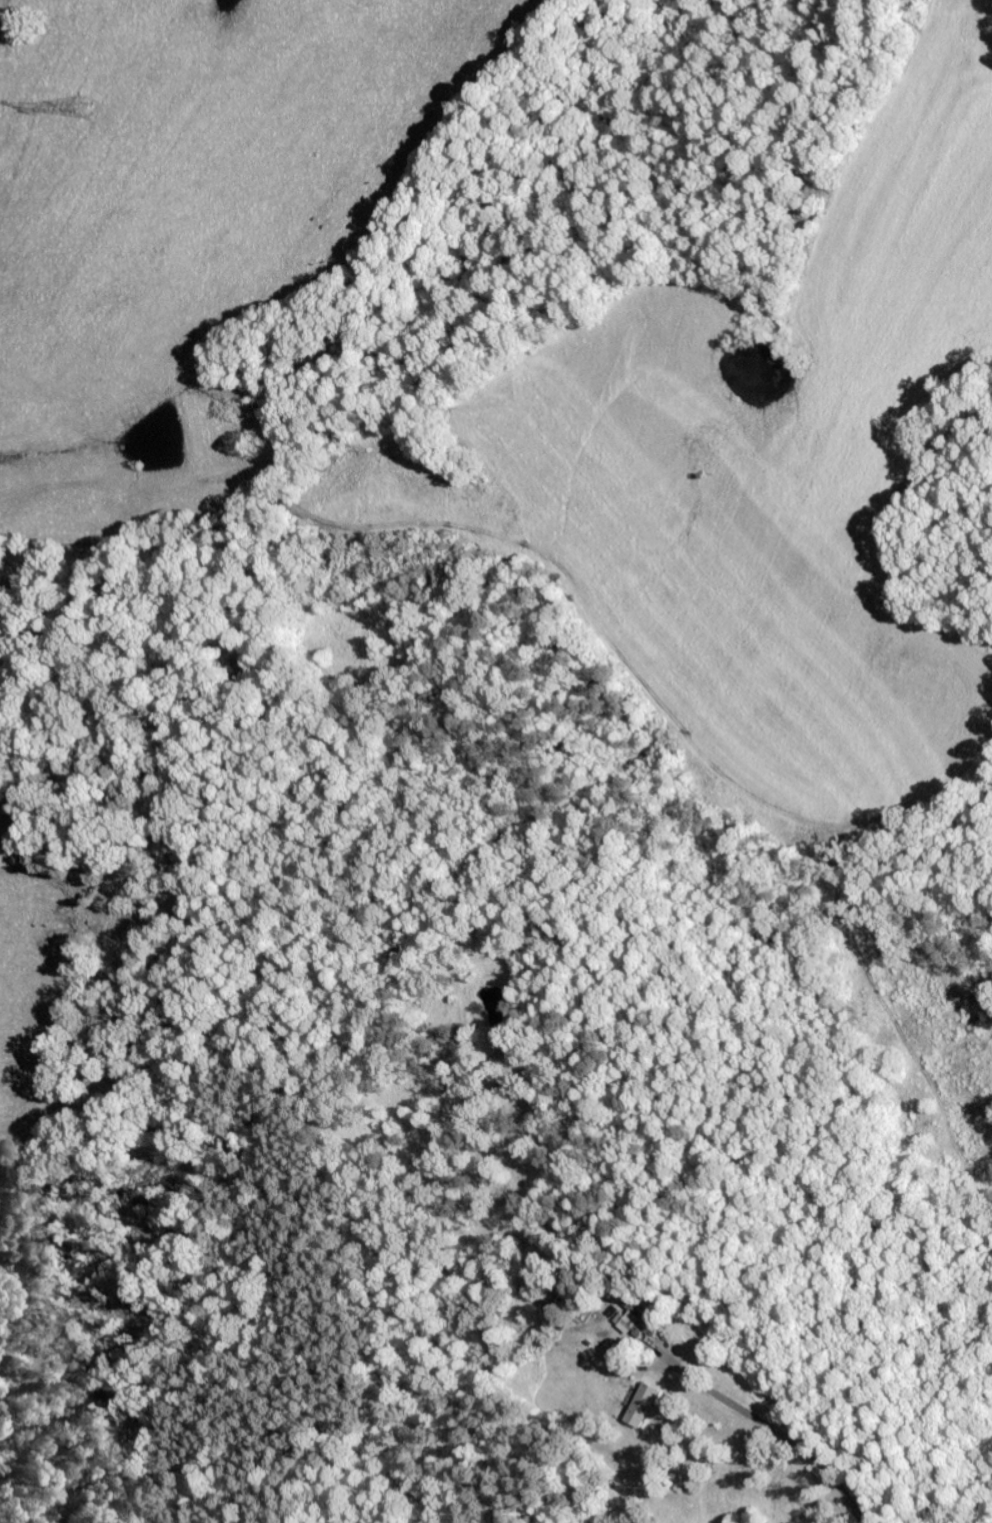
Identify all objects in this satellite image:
power tower: (82, 109)
building: (629, 1316)
building: (641, 1405)
road: (772, 1427)

